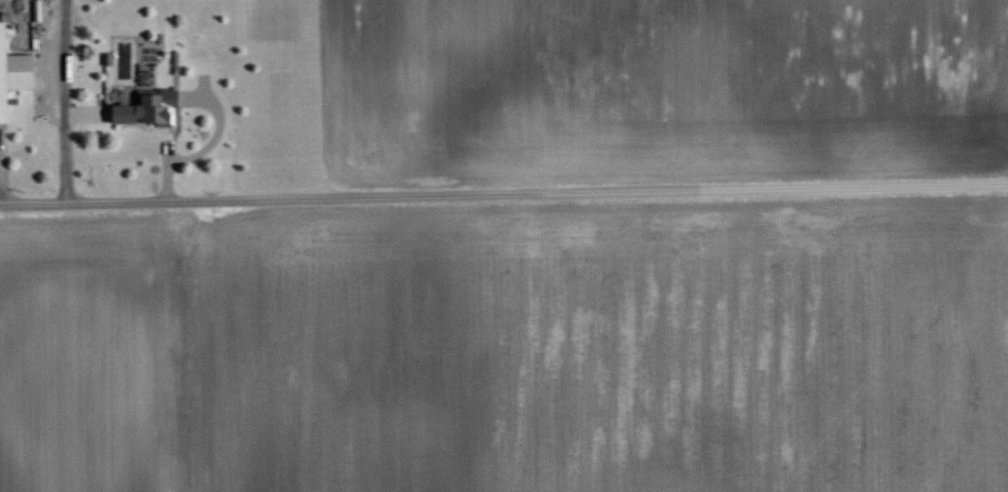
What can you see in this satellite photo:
building: (12, 73)
road: (66, 101)
building: (144, 119)
road: (504, 193)

